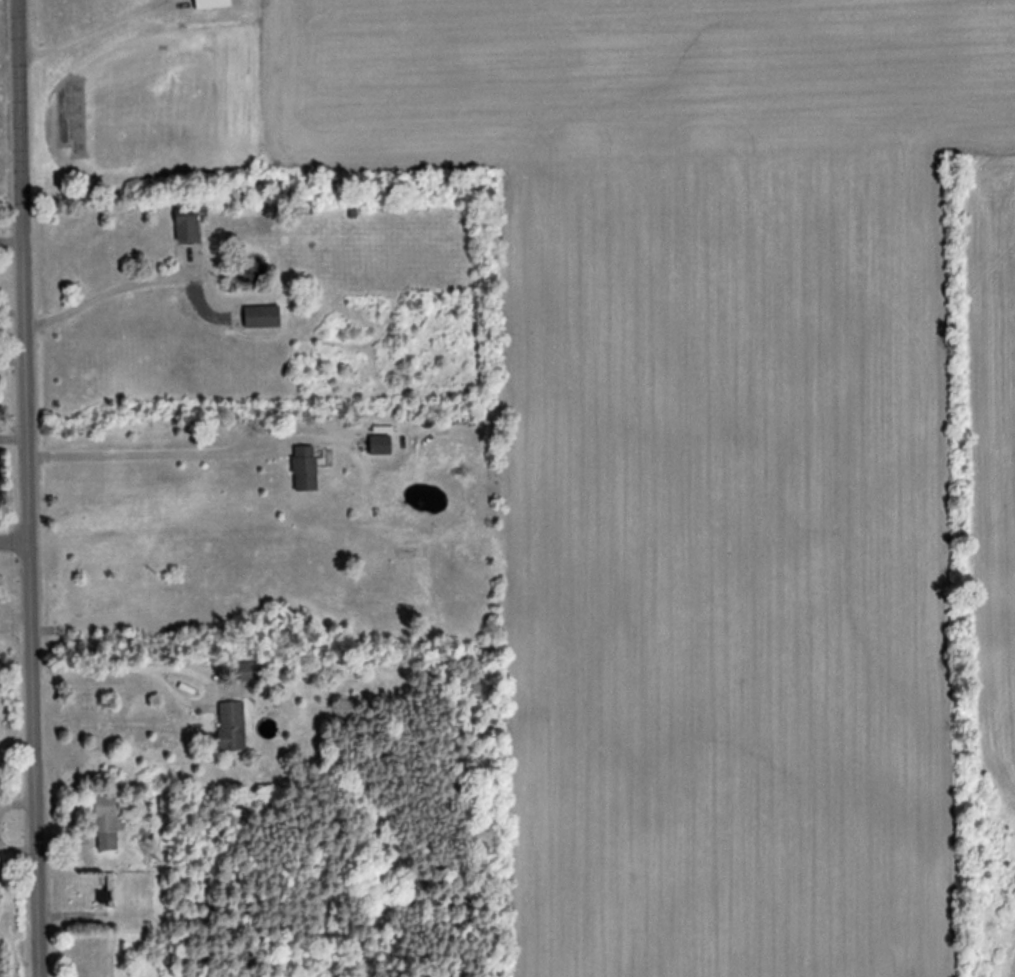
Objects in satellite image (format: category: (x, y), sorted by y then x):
building: (213, 4)
road: (15, 100)
building: (306, 208)
building: (188, 225)
building: (263, 318)
building: (381, 446)
building: (307, 470)
road: (12, 538)
road: (25, 589)
building: (250, 673)
building: (233, 728)
building: (107, 824)

